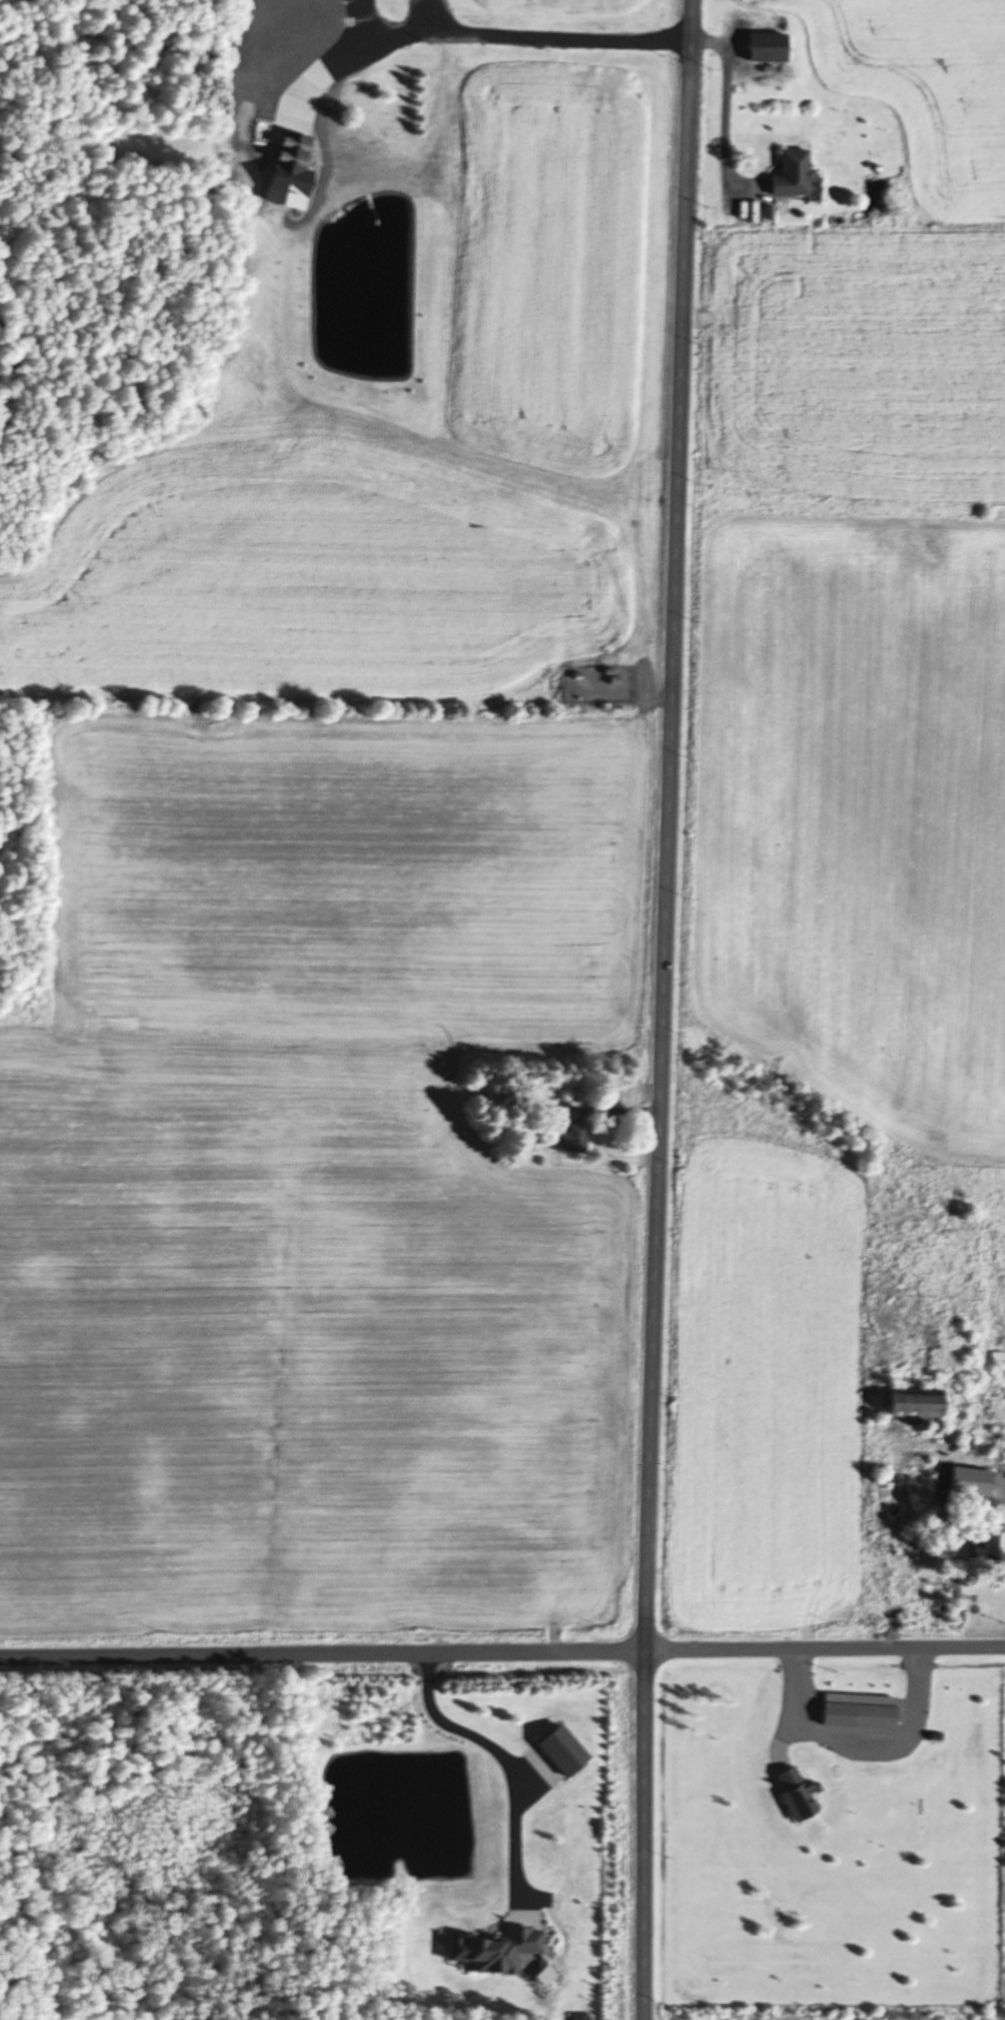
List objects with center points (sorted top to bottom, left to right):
building: (328, 11)
building: (761, 44)
building: (300, 96)
building: (787, 171)
road: (663, 1009)
building: (568, 1128)
building: (907, 1403)
building: (886, 1515)
building: (990, 1539)
road: (502, 1647)
building: (868, 1716)
building: (790, 1791)

